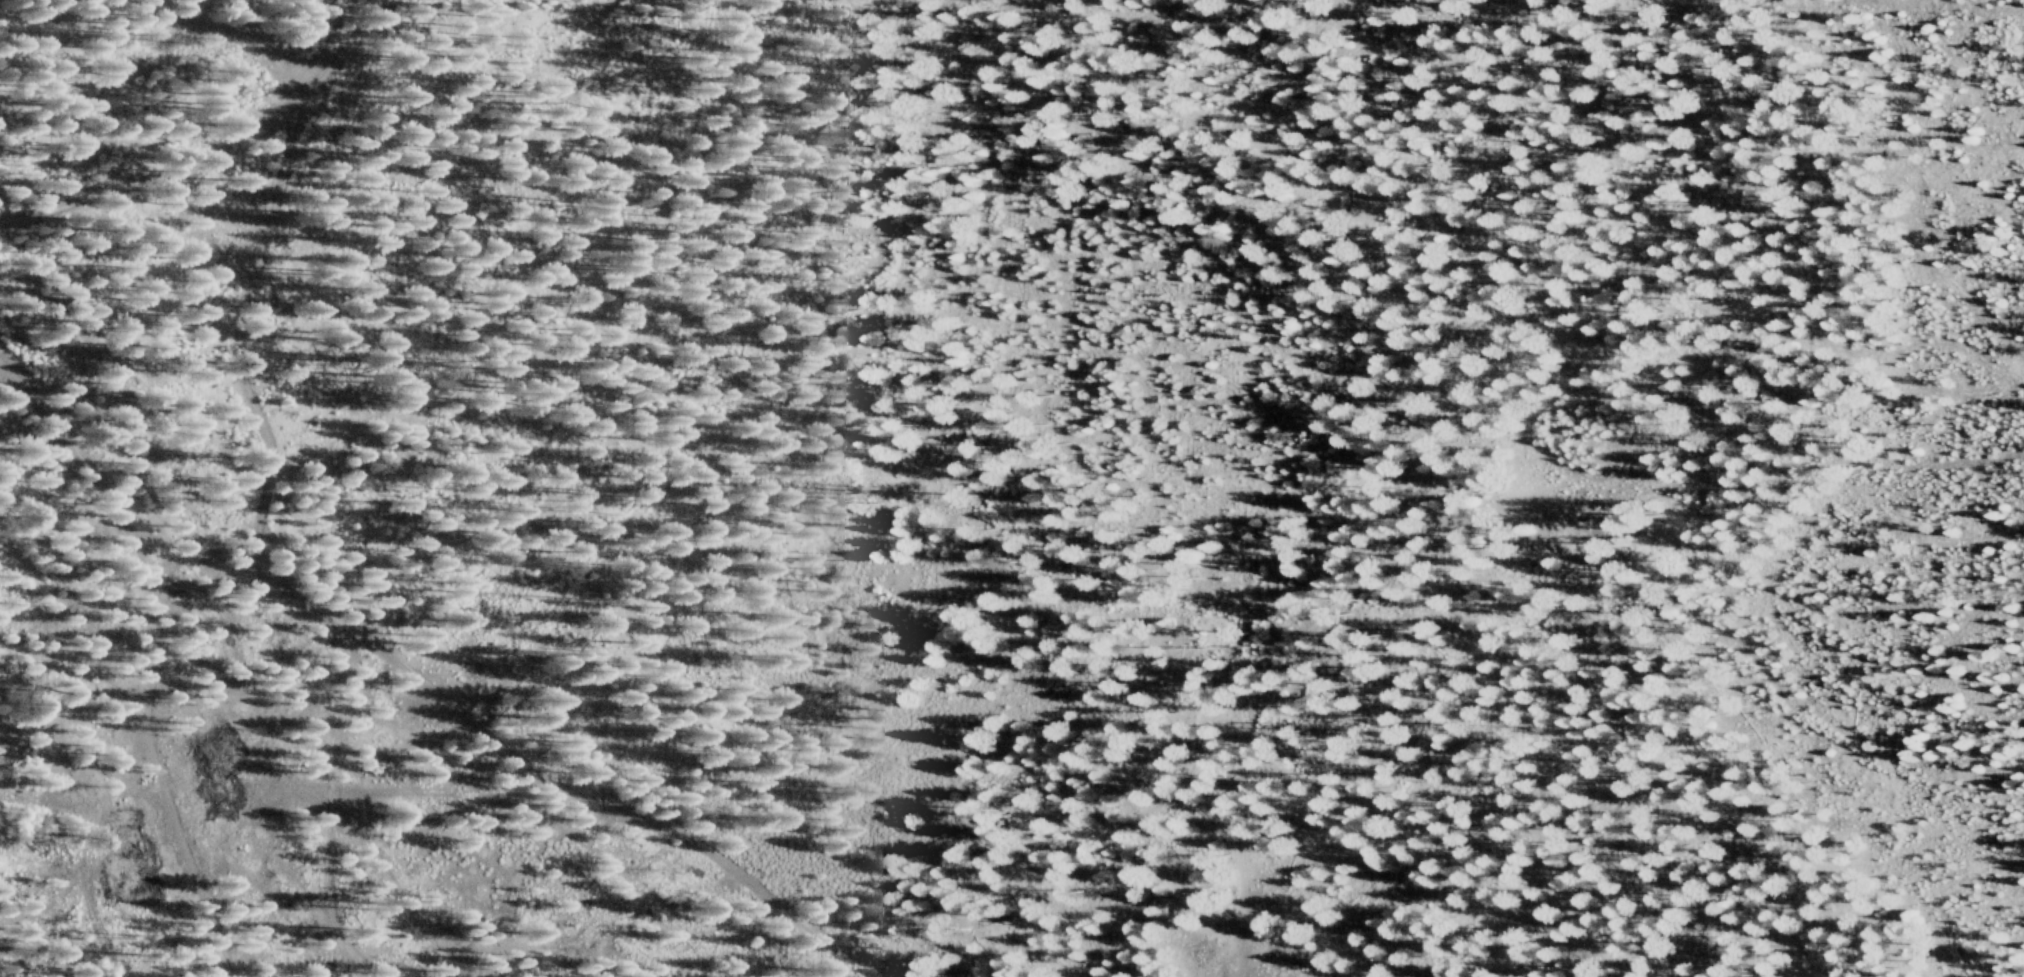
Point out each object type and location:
road: (263, 107)

